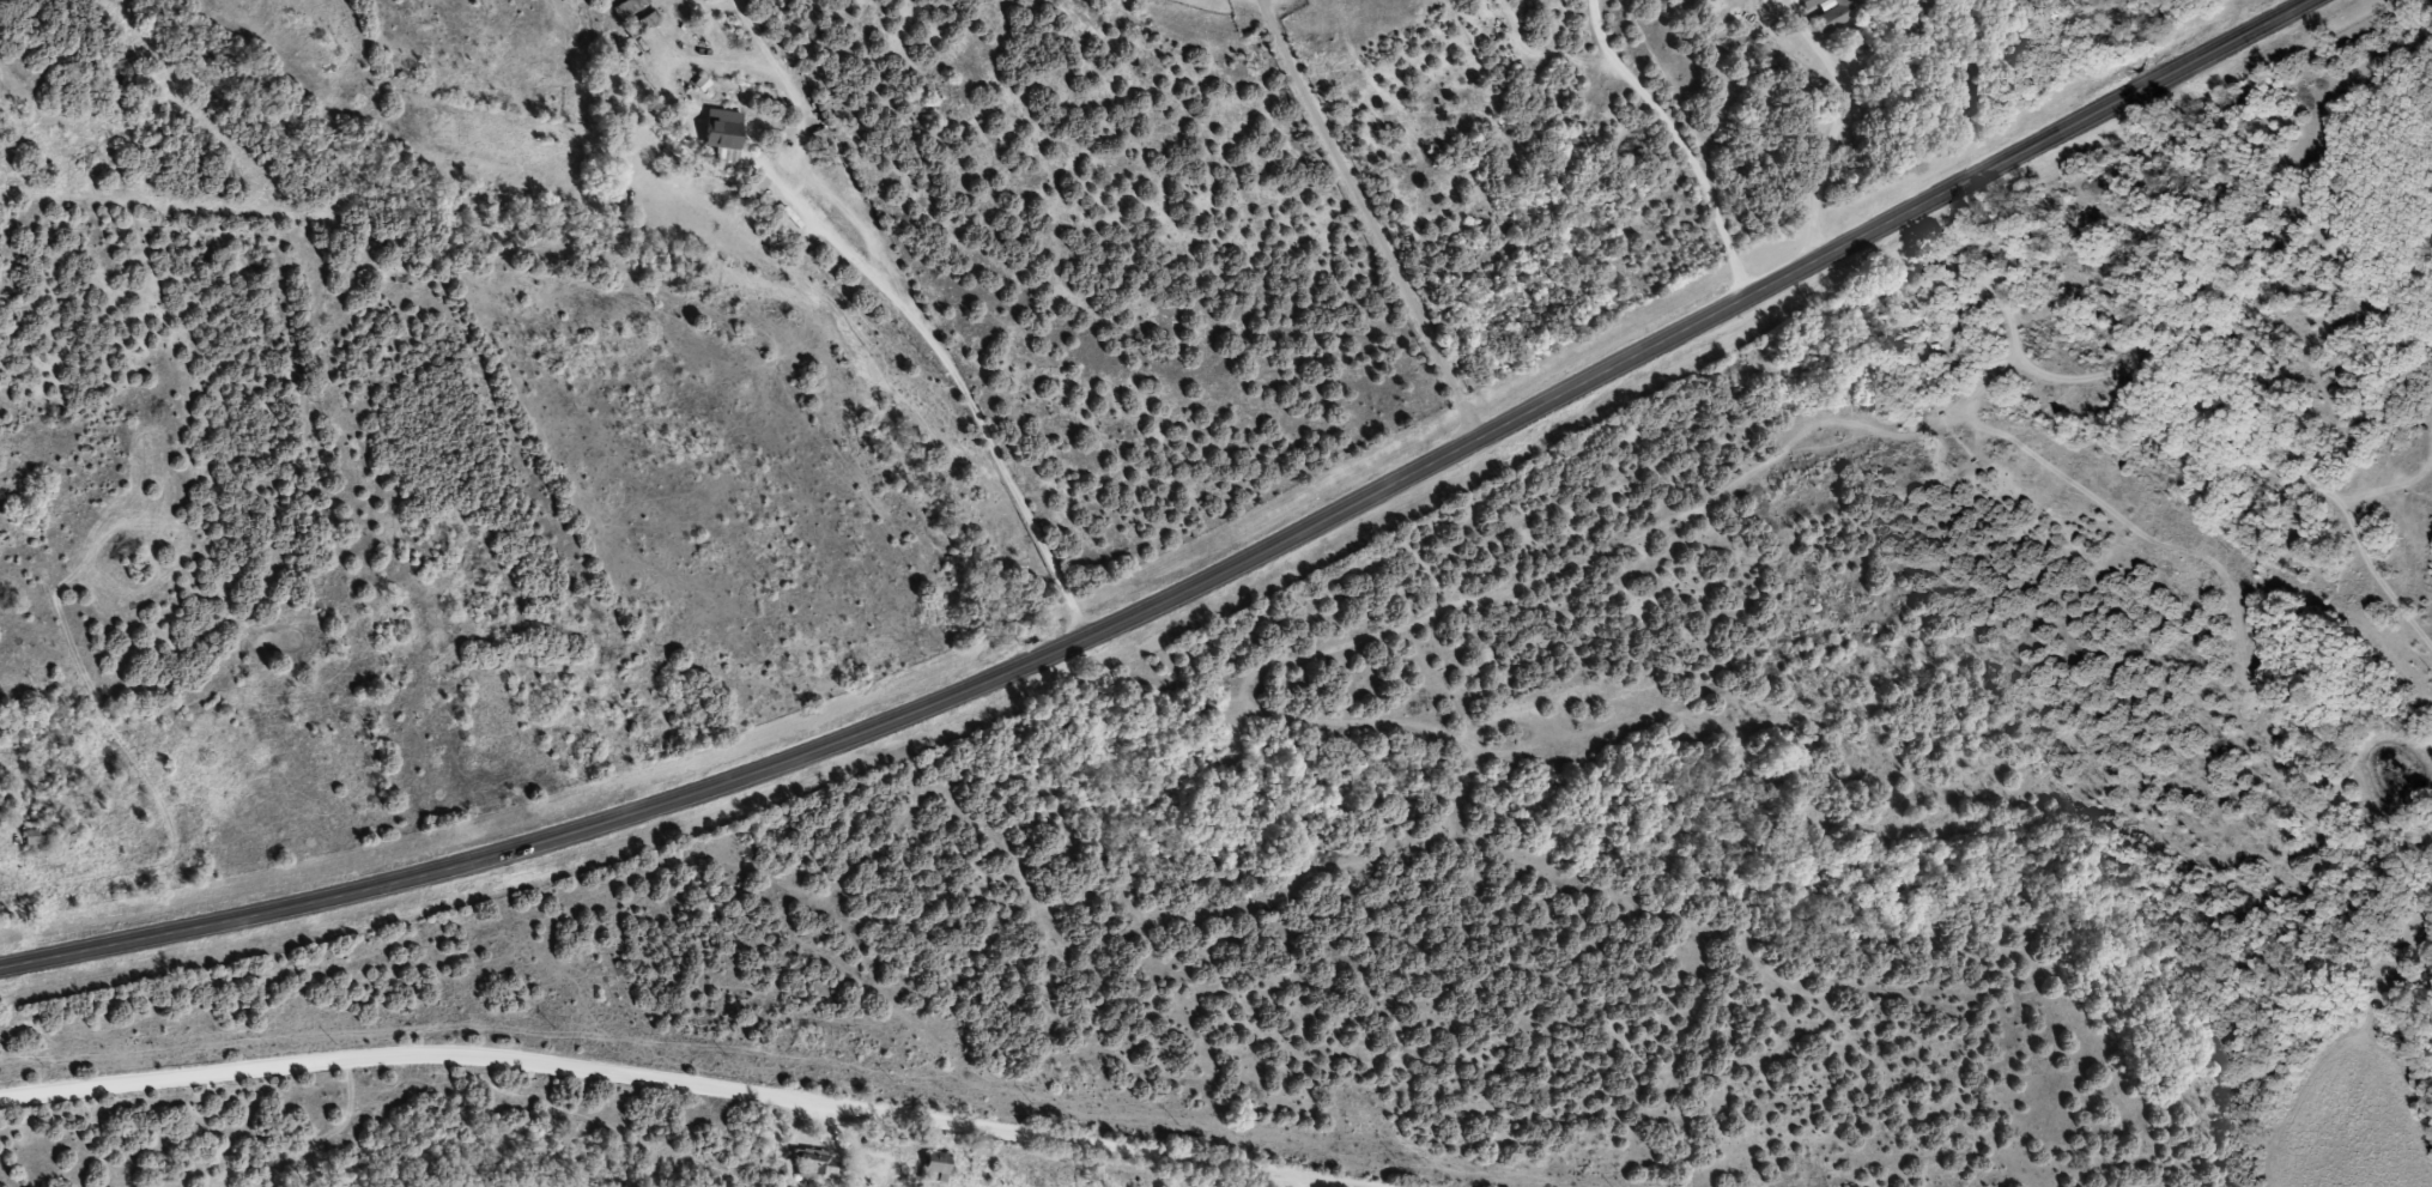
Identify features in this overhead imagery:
building: (1831, 13)
road: (689, 37)
building: (728, 135)
road: (1681, 144)
road: (823, 337)
road: (1191, 583)
road: (656, 1088)
building: (817, 1164)
building: (939, 1167)

